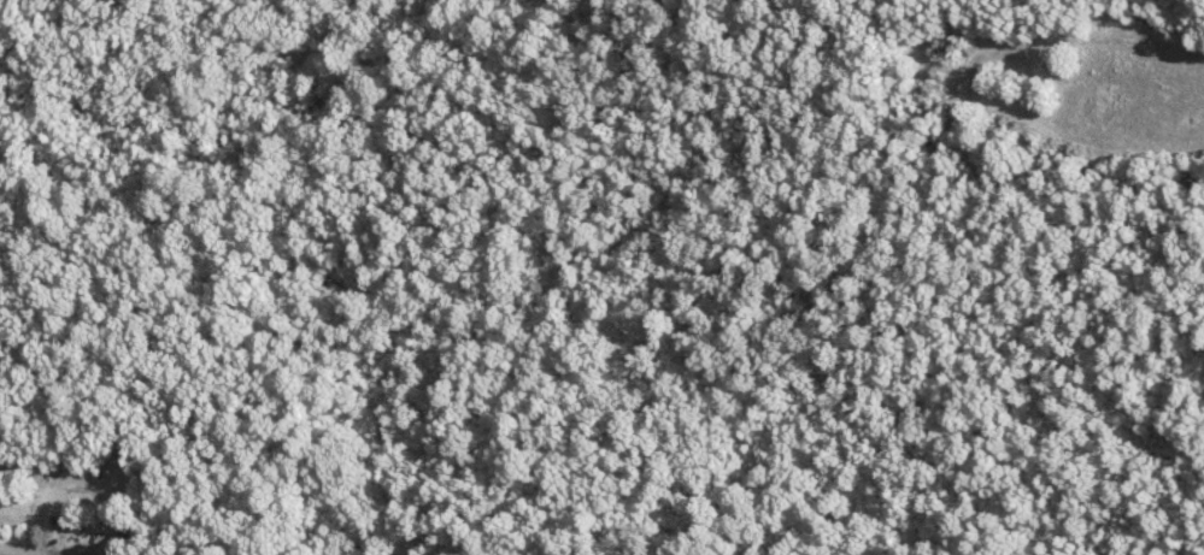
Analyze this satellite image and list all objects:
road: (14, 549)

